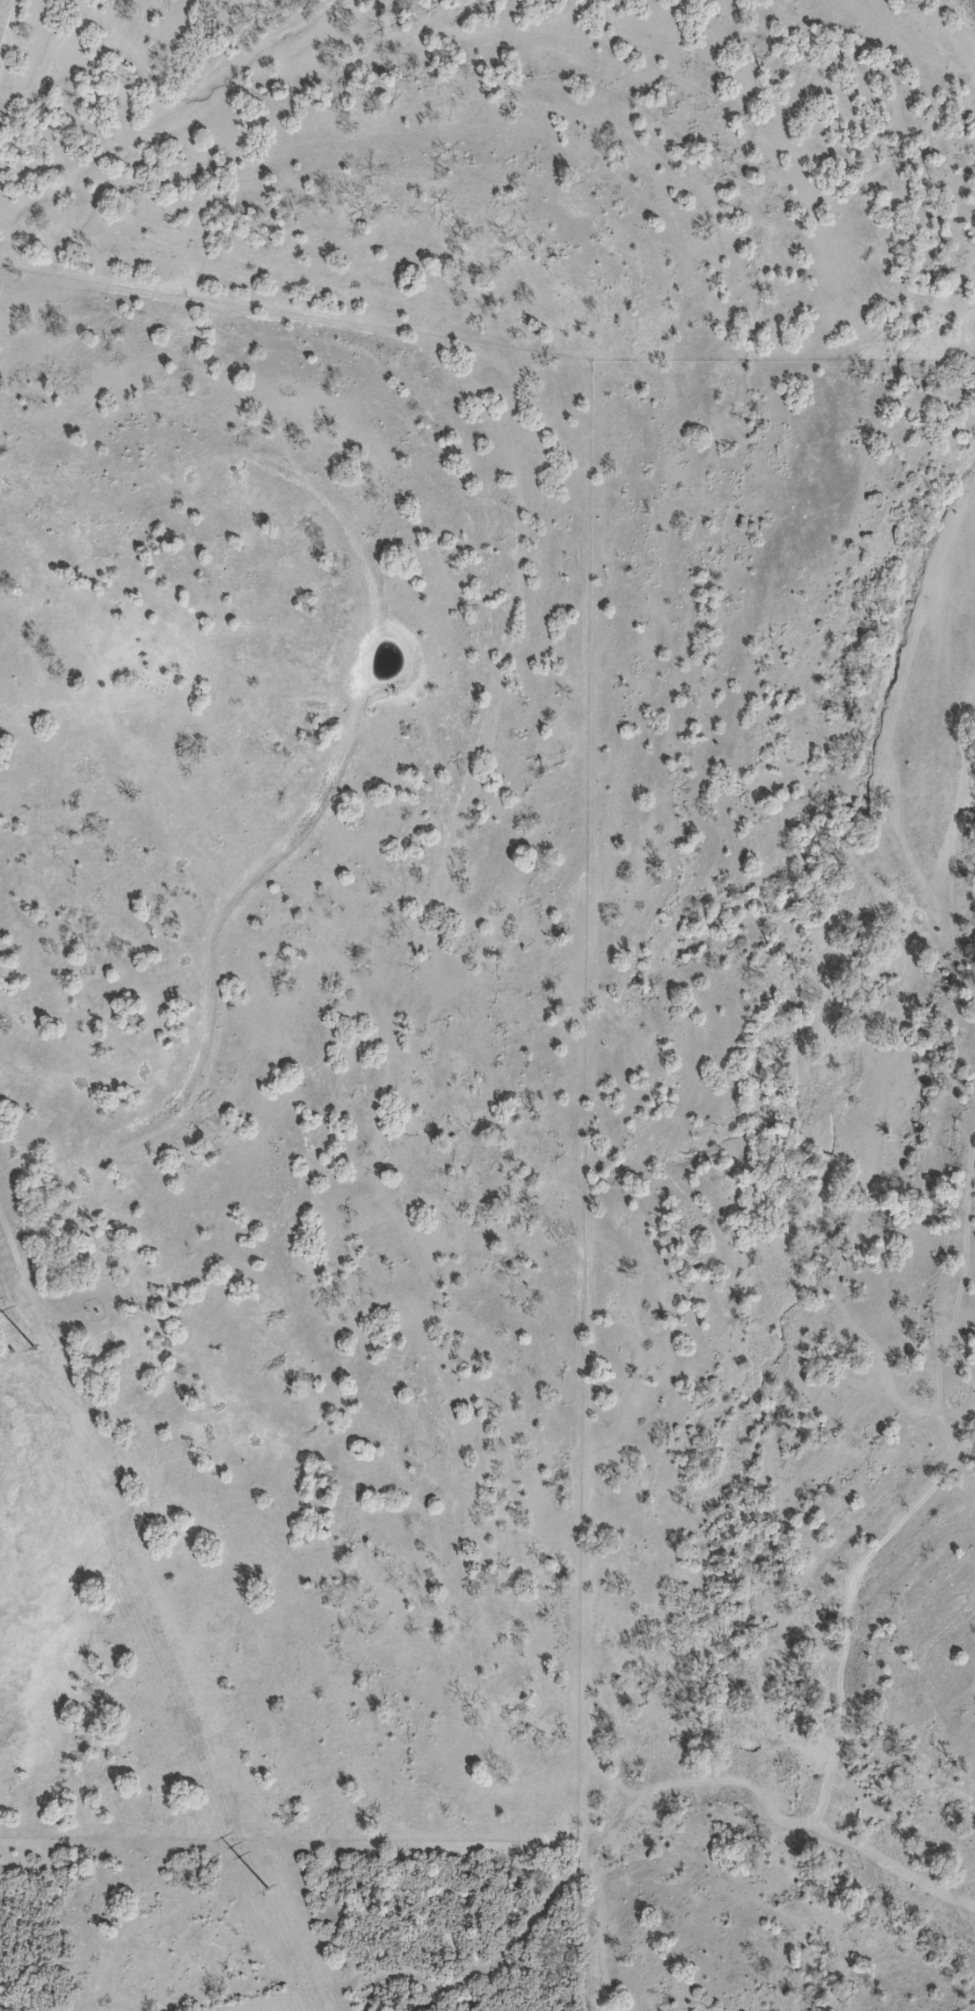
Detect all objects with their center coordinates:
power tower: (34, 1351)
power tower: (271, 1892)

